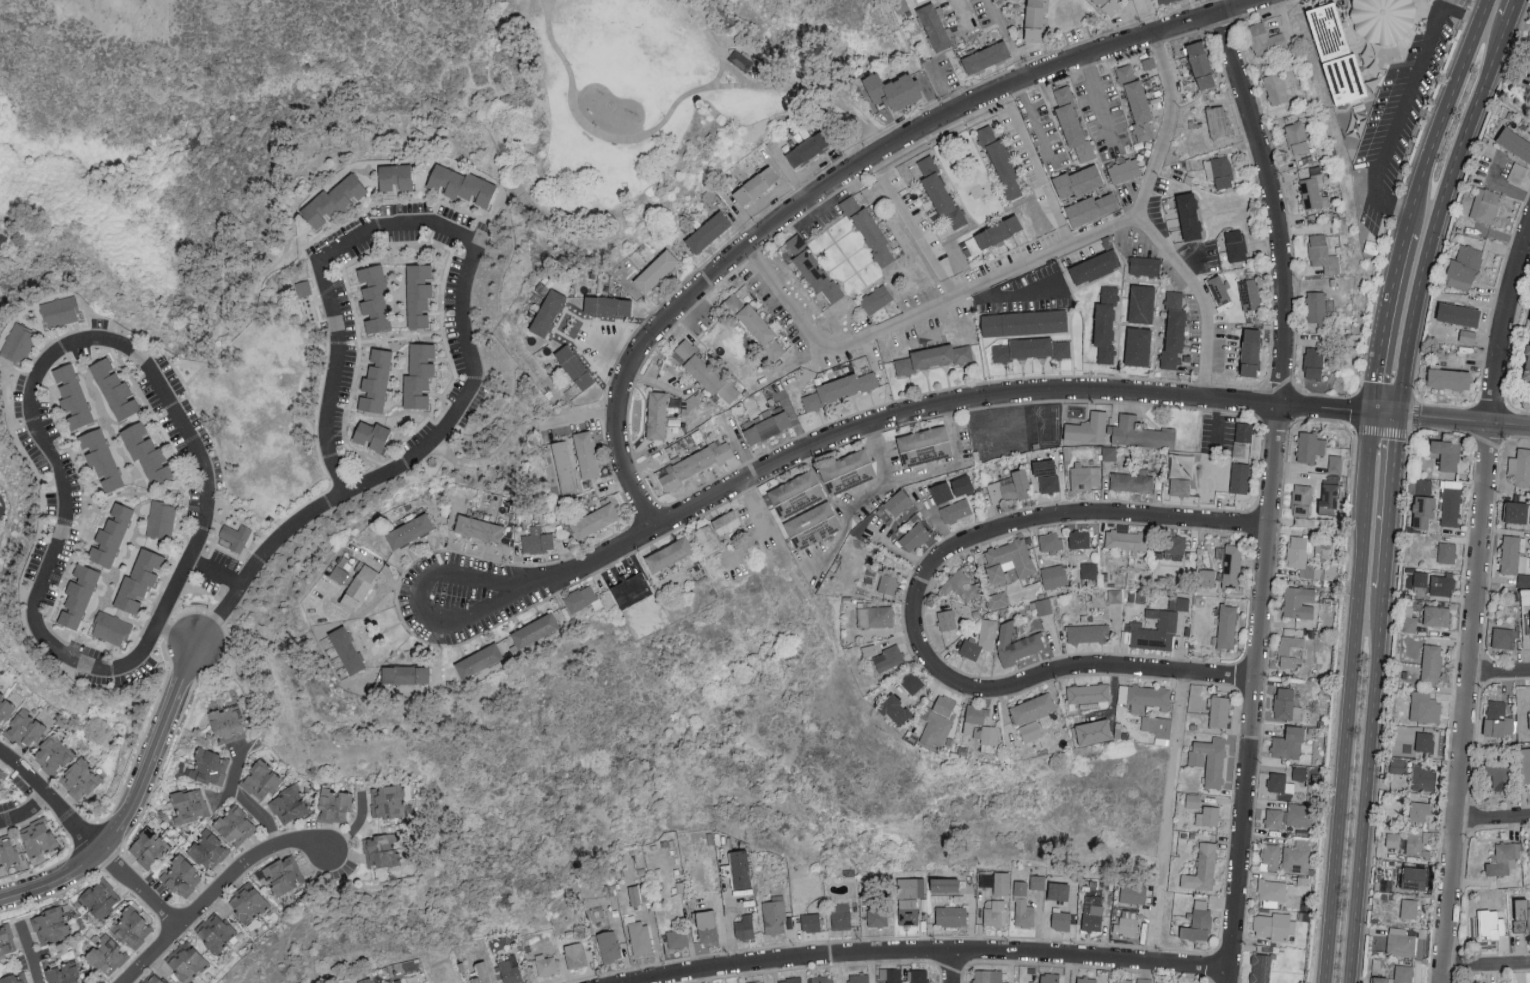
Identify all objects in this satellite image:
building: (1163, 1)
parking lot: (1457, 2)
road: (1480, 2)
road: (548, 5)
building: (1109, 6)
road: (1512, 10)
park: (785, 11)
road: (959, 14)
road: (1145, 18)
building: (1034, 20)
building: (1381, 20)
road: (1283, 21)
building: (933, 26)
building: (1264, 38)
road: (1007, 42)
road: (714, 45)
building: (1335, 55)
building: (986, 56)
building: (740, 59)
building: (1200, 65)
building: (1125, 72)
road: (718, 77)
parking lot: (1526, 78)
building: (1275, 88)
road: (945, 89)
building: (892, 90)
road: (1097, 102)
road: (1403, 103)
park: (652, 108)
building: (1139, 108)
park: (230, 113)
road: (1442, 114)
building: (1217, 121)
building: (1072, 124)
road: (852, 127)
road: (1169, 127)
road: (1036, 128)
road: (644, 135)
building: (1297, 137)
building: (1514, 143)
building: (807, 148)
building: (1001, 163)
building: (1124, 170)
building: (1219, 171)
building: (1517, 172)
building: (394, 177)
road: (843, 177)
road: (1042, 178)
building: (1077, 181)
building: (461, 185)
building: (755, 185)
road: (1501, 185)
building: (1313, 189)
building: (940, 193)
building: (332, 200)
building: (1485, 204)
building: (1091, 208)
road: (498, 210)
road: (1438, 213)
building: (1188, 216)
road: (379, 225)
building: (997, 231)
building: (707, 232)
building: (869, 232)
road: (919, 237)
building: (1235, 244)
building: (1323, 254)
building: (1094, 266)
building: (1144, 266)
building: (1464, 267)
building: (812, 268)
road: (1016, 269)
building: (656, 270)
building: (304, 287)
building: (1219, 289)
building: (1109, 293)
building: (1249, 293)
building: (418, 294)
road: (1051, 294)
building: (373, 298)
building: (875, 299)
building: (1141, 304)
building: (606, 305)
building: (1316, 307)
building: (59, 311)
building: (547, 312)
building: (1458, 314)
road: (699, 318)
road: (1382, 322)
building: (1024, 323)
building: (756, 326)
road: (248, 328)
building: (1174, 330)
building: (1104, 331)
building: (1467, 336)
building: (18, 342)
building: (1137, 346)
building: (1024, 348)
building: (1061, 349)
building: (1250, 352)
building: (934, 358)
building: (1313, 362)
building: (574, 367)
building: (1527, 367)
building: (705, 372)
building: (418, 375)
building: (1448, 379)
building: (375, 381)
road: (657, 381)
building: (841, 388)
building: (114, 389)
road: (165, 394)
building: (72, 397)
road: (933, 411)
traffic signals: (1369, 414)
road: (1383, 414)
building: (656, 415)
traffic signals: (1398, 416)
road: (574, 419)
road: (1464, 420)
building: (767, 426)
building: (1087, 429)
building: (1210, 431)
building: (1244, 432)
building: (1139, 433)
building: (371, 435)
road: (65, 445)
building: (923, 446)
building: (1309, 446)
building: (1240, 449)
building: (1447, 451)
building: (1109, 452)
building: (147, 453)
building: (586, 454)
building: (99, 458)
road: (485, 462)
building: (1335, 463)
building: (692, 465)
building: (563, 466)
building: (1520, 466)
building: (847, 472)
road: (922, 473)
building: (1214, 473)
building: (1181, 475)
building: (1086, 476)
building: (1239, 477)
building: (1131, 482)
building: (1049, 484)
building: (1423, 485)
building: (1009, 487)
building: (942, 491)
road: (127, 493)
building: (796, 494)
road: (1270, 495)
building: (1328, 498)
building: (1302, 500)
building: (898, 503)
road: (1390, 506)
building: (1451, 506)
building: (955, 510)
building: (1424, 512)
building: (1517, 512)
road: (845, 517)
road: (1049, 518)
building: (161, 519)
building: (594, 521)
road: (294, 522)
building: (726, 522)
building: (812, 525)
building: (478, 529)
building: (409, 531)
building: (110, 536)
building: (235, 536)
building: (914, 536)
building: (707, 538)
building: (1079, 539)
building: (537, 540)
building: (1126, 540)
building: (1050, 541)
building: (1174, 546)
building: (1446, 552)
building: (1298, 553)
building: (669, 554)
road: (71, 559)
building: (1008, 560)
building: (1232, 565)
building: (1089, 570)
road: (213, 573)
building: (339, 574)
building: (1053, 576)
building: (1206, 577)
building: (1420, 579)
building: (138, 581)
building: (888, 583)
building: (1441, 584)
building: (358, 586)
building: (961, 586)
building: (631, 590)
building: (77, 595)
building: (1114, 595)
road: (416, 599)
building: (582, 599)
building: (997, 600)
building: (1298, 602)
building: (1043, 606)
road: (1477, 606)
building: (876, 616)
building: (1436, 616)
building: (947, 620)
building: (1409, 621)
building: (1158, 626)
building: (1226, 626)
building: (111, 628)
building: (534, 630)
building: (1088, 633)
road: (174, 637)
building: (1504, 637)
building: (980, 639)
building: (1016, 643)
building: (346, 650)
building: (868, 650)
building: (1291, 651)
building: (888, 658)
building: (478, 661)
building: (1431, 664)
road: (1080, 669)
road: (1501, 674)
building: (404, 675)
building: (911, 682)
building: (1088, 693)
building: (1144, 697)
road: (1346, 698)
building: (1286, 705)
building: (1424, 707)
building: (1529, 707)
building: (4, 708)
building: (895, 710)
building: (1219, 711)
building: (1032, 715)
building: (975, 719)
building: (1498, 719)
building: (936, 722)
building: (227, 724)
building: (1158, 728)
building: (24, 729)
building: (1093, 731)
building: (1424, 742)
building: (1288, 743)
building: (53, 754)
building: (1209, 760)
building: (1525, 764)
building: (1397, 765)
building: (209, 767)
building: (1299, 773)
building: (1498, 773)
building: (2, 775)
building: (1422, 777)
building: (79, 779)
building: (260, 780)
building: (1276, 781)
road: (1367, 790)
road: (51, 798)
road: (127, 799)
road: (245, 800)
building: (386, 801)
building: (1194, 801)
building: (189, 805)
building: (333, 806)
road: (23, 809)
building: (1420, 811)
building: (1208, 816)
road: (1167, 817)
road: (1494, 819)
building: (234, 826)
building: (37, 837)
building: (1392, 839)
building: (1417, 841)
building: (1529, 846)
building: (148, 847)
building: (7, 850)
building: (208, 850)
building: (381, 851)
building: (1270, 856)
building: (1297, 856)
building: (1202, 869)
building: (740, 870)
building: (283, 874)
building: (181, 876)
building: (1413, 879)
building: (996, 881)
building: (1037, 881)
road: (137, 887)
building: (917, 887)
road: (212, 890)
building: (1058, 891)
building: (1272, 892)
building: (1133, 893)
building: (634, 895)
building: (101, 898)
building: (248, 901)
building: (1023, 906)
building: (1409, 908)
building: (907, 911)
building: (995, 914)
building: (774, 915)
building: (1521, 915)
building: (840, 916)
building: (877, 916)
building: (950, 916)
building: (1093, 918)
building: (1060, 919)
building: (810, 922)
building: (1490, 923)
building: (51, 926)
building: (706, 926)
building: (1126, 926)
building: (1198, 926)
building: (1275, 926)
building: (744, 927)
building: (131, 928)
building: (214, 933)
building: (640, 938)
building: (677, 939)
building: (7, 941)
building: (1400, 942)
building: (609, 946)
road: (28, 954)
road: (941, 954)
building: (106, 955)
building: (574, 955)
building: (186, 962)
building: (546, 965)
road: (1486, 967)
road: (952, 968)
building: (1260, 968)
building: (510, 971)
building: (63, 973)
building: (481, 973)
building: (890, 974)
building: (1403, 974)
building: (917, 975)
building: (1049, 977)
building: (15, 978)
building: (152, 978)
building: (820, 978)
building: (859, 978)
building: (791, 979)
building: (1086, 979)
building: (365, 980)
building: (1122, 980)
building: (1143, 980)
building: (1379, 980)
building: (756, 981)

